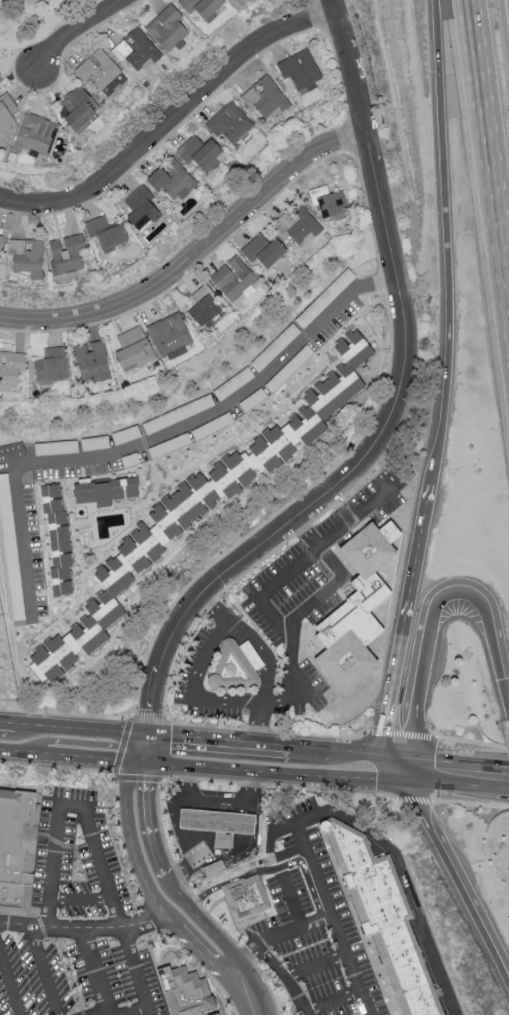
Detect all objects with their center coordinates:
building: (241, 0)
building: (201, 7)
road: (335, 9)
road: (353, 9)
road: (80, 28)
building: (167, 29)
building: (135, 50)
building: (299, 70)
building: (100, 72)
building: (0, 81)
building: (264, 98)
building: (77, 109)
building: (6, 113)
road: (171, 121)
building: (230, 124)
road: (490, 126)
building: (34, 134)
building: (200, 153)
building: (171, 180)
building: (328, 203)
building: (140, 208)
building: (297, 225)
road: (448, 230)
building: (105, 233)
building: (0, 239)
building: (262, 250)
building: (65, 254)
road: (194, 256)
building: (25, 257)
building: (233, 279)
building: (203, 306)
building: (168, 336)
building: (132, 349)
building: (91, 362)
building: (51, 365)
building: (10, 368)
road: (383, 433)
road: (159, 437)
building: (11, 451)
building: (104, 491)
building: (203, 505)
building: (56, 538)
road: (308, 552)
building: (355, 608)
road: (409, 608)
road: (305, 609)
road: (432, 615)
road: (270, 657)
building: (234, 665)
road: (185, 689)
road: (505, 696)
traffic signals: (153, 709)
road: (66, 714)
road: (8, 724)
road: (8, 730)
road: (81, 730)
road: (268, 730)
road: (404, 733)
traffic signals: (170, 738)
road: (220, 742)
road: (474, 742)
road: (311, 749)
road: (120, 752)
road: (23, 753)
road: (356, 754)
traffic signals: (383, 757)
road: (397, 758)
road: (94, 759)
traffic signals: (412, 759)
traffic signals: (113, 761)
road: (460, 764)
road: (388, 769)
road: (270, 772)
traffic signals: (398, 780)
traffic signals: (144, 782)
road: (453, 784)
road: (116, 785)
road: (89, 789)
road: (251, 789)
road: (158, 797)
road: (417, 799)
road: (293, 804)
road: (472, 804)
road: (174, 813)
road: (88, 816)
building: (217, 824)
road: (56, 840)
building: (16, 848)
road: (292, 850)
road: (35, 853)
road: (75, 857)
road: (188, 865)
building: (212, 867)
road: (269, 869)
road: (161, 878)
road: (147, 882)
road: (410, 882)
road: (456, 883)
road: (326, 892)
building: (251, 898)
road: (293, 901)
building: (387, 917)
road: (149, 919)
road: (42, 927)
road: (84, 927)
road: (280, 935)
road: (132, 956)
road: (317, 966)
road: (203, 967)
road: (68, 969)
road: (45, 970)
road: (96, 971)
road: (288, 978)
road: (10, 981)
road: (162, 982)
road: (248, 991)
building: (191, 994)
road: (334, 999)
road: (126, 1010)
road: (82, 1012)

